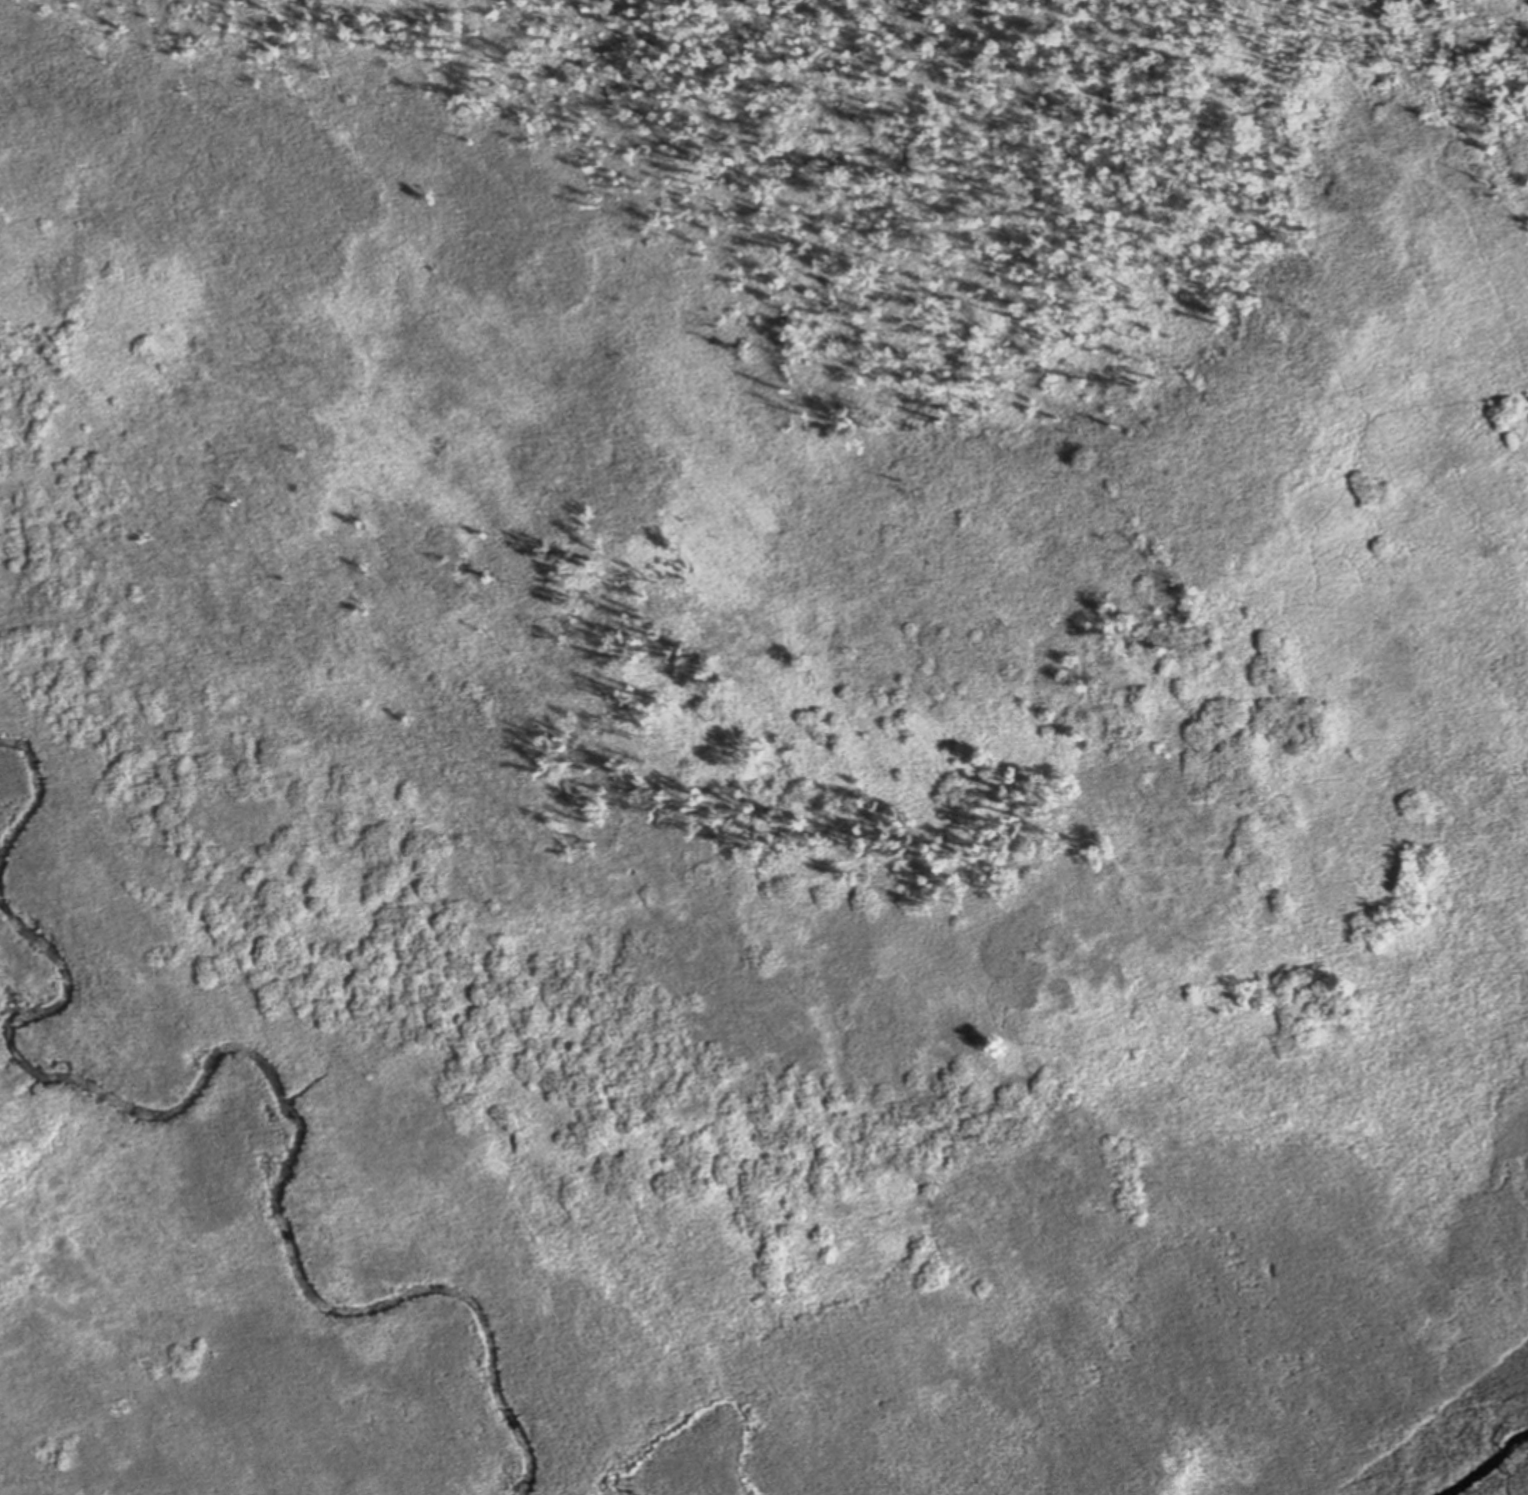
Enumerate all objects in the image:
river: (1486, 1466)

